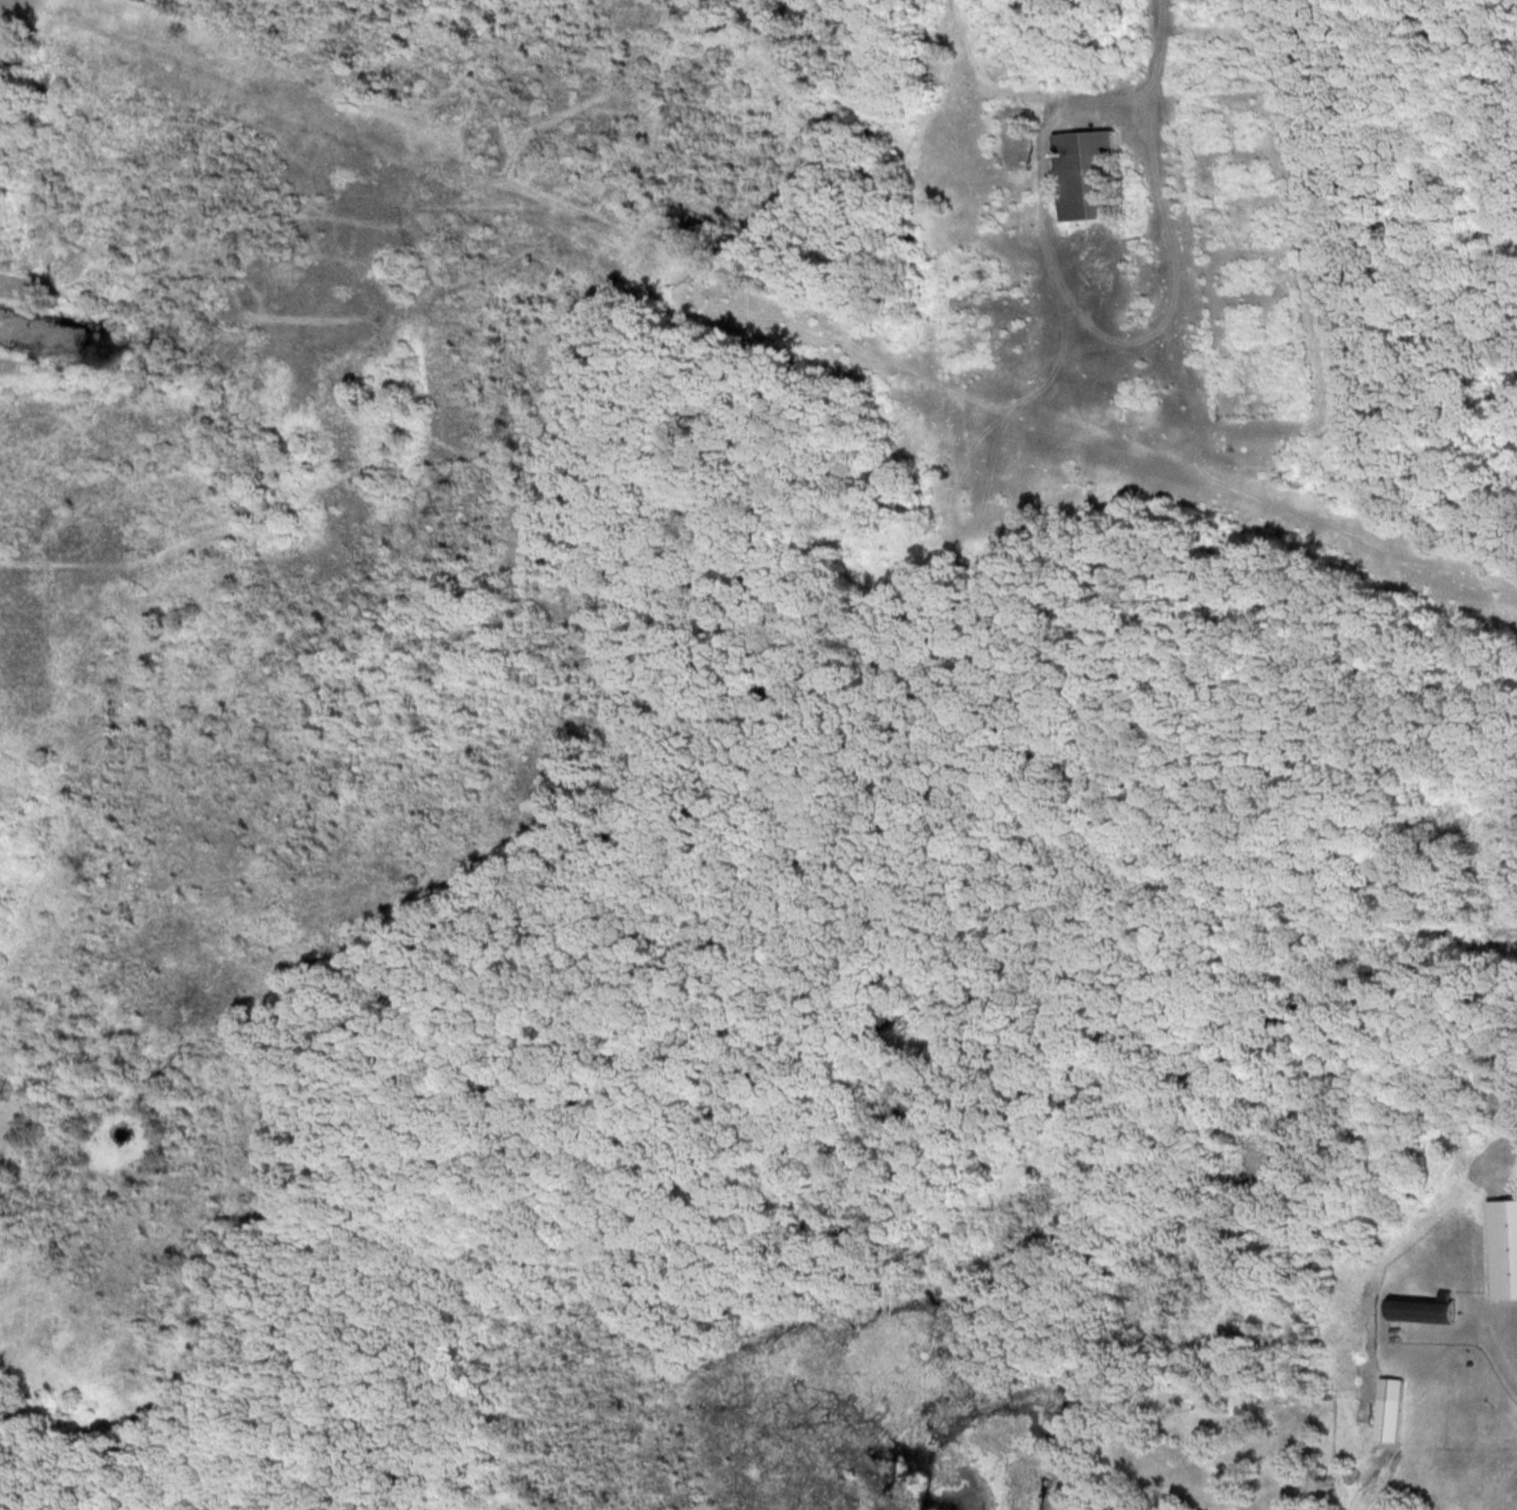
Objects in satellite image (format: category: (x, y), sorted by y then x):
road: (1162, 46)
building: (1090, 173)
road: (1150, 228)
building: (1505, 1248)
building: (1424, 1310)
road: (1492, 1352)
building: (1392, 1409)

